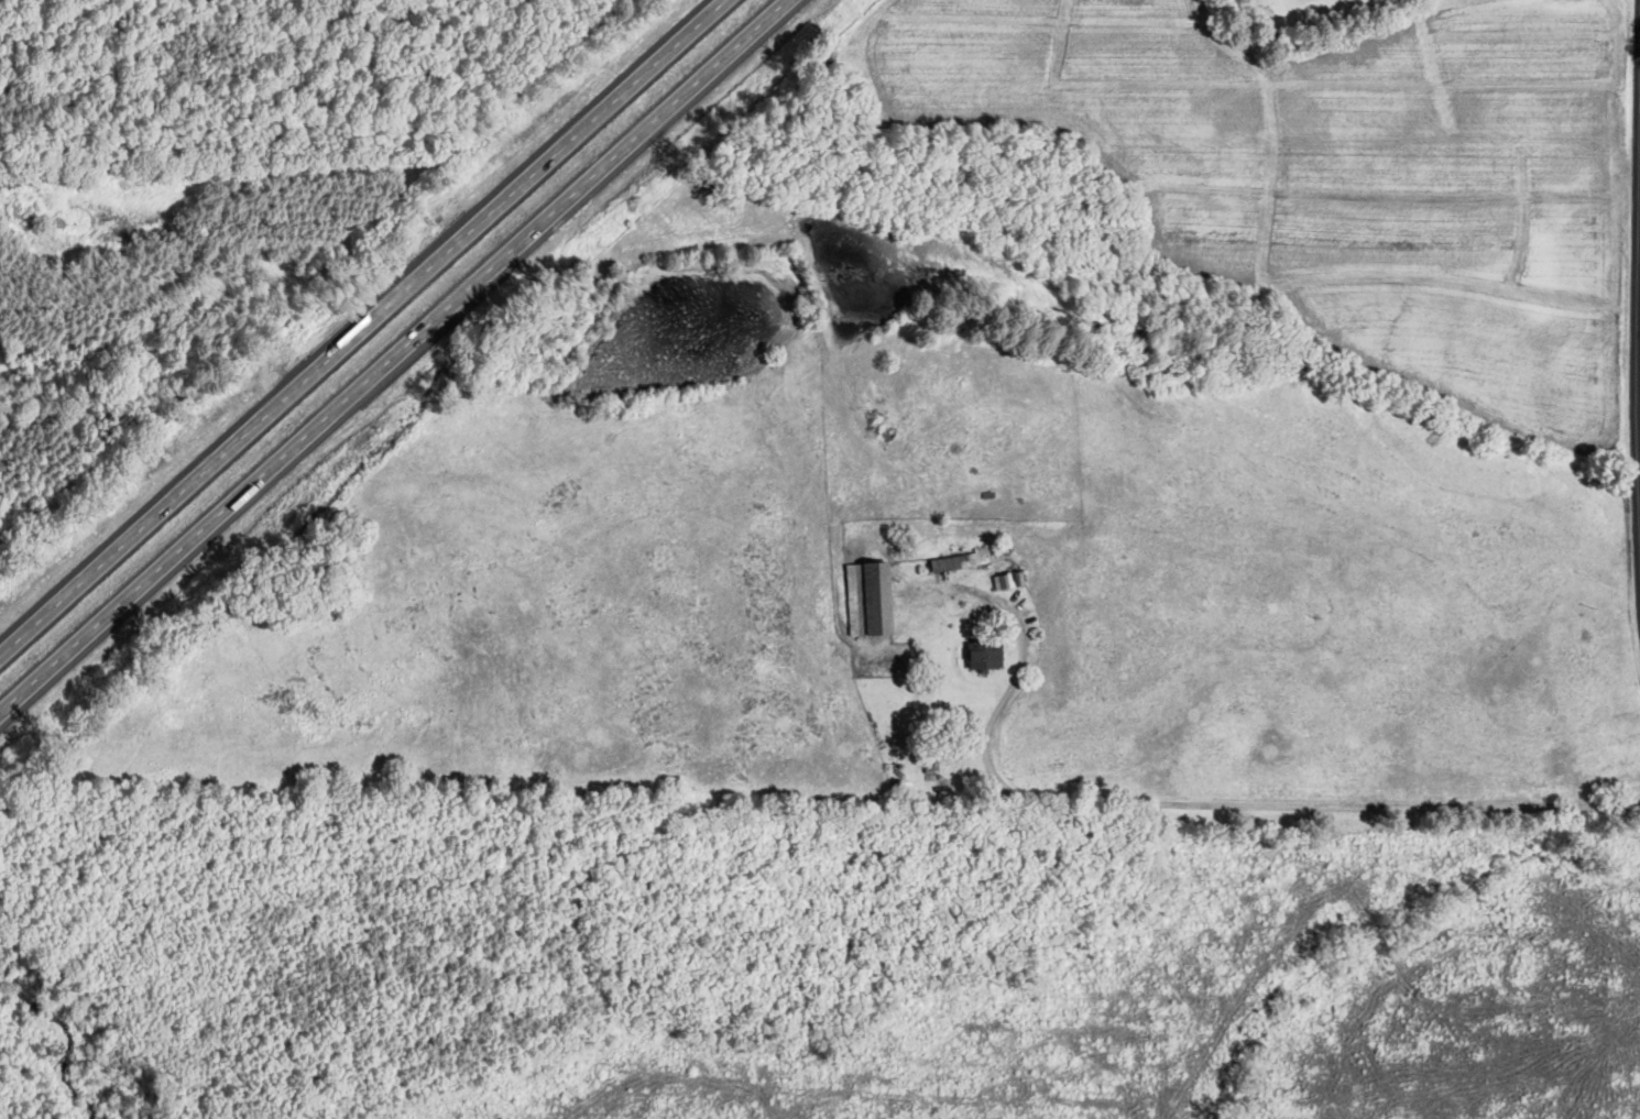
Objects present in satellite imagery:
road: (1638, 321)
road: (358, 323)
road: (393, 359)
building: (970, 560)
building: (1005, 583)
building: (873, 600)
building: (988, 656)
building: (934, 758)
road: (1206, 811)

